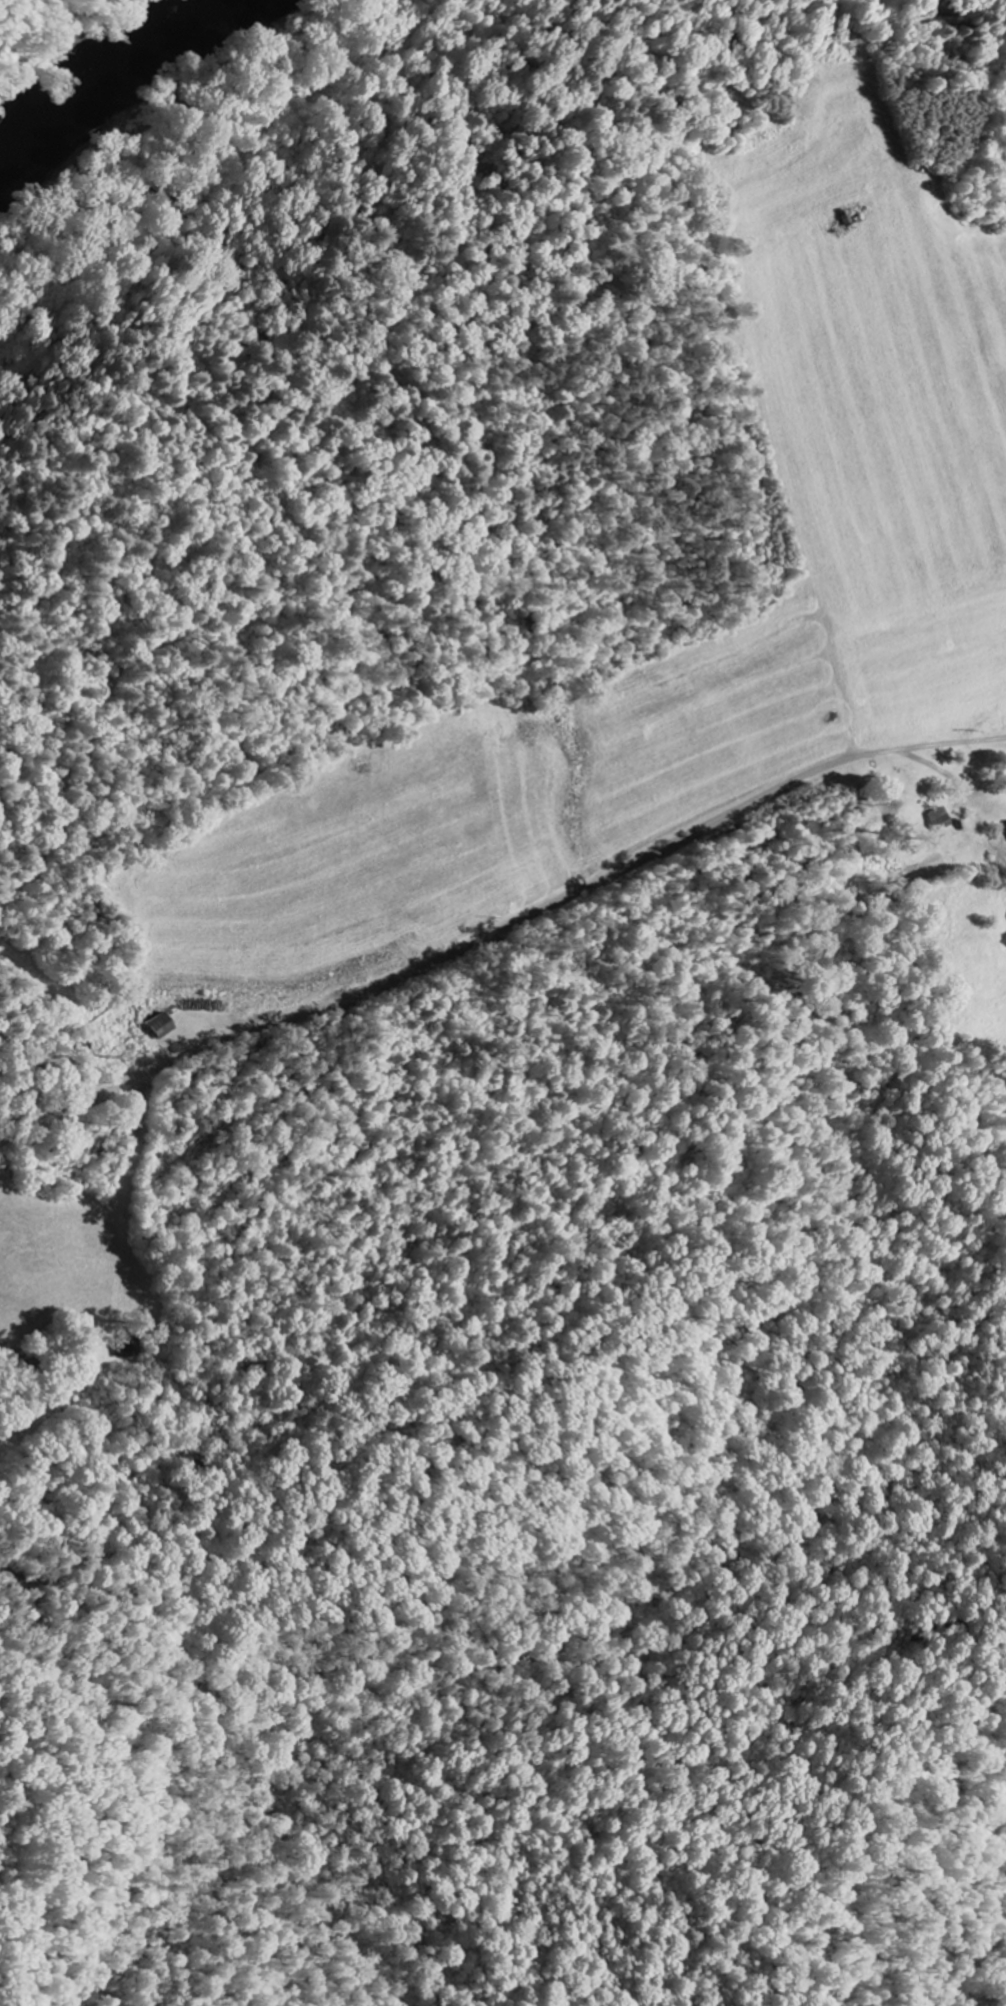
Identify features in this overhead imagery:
river: (105, 76)
road: (494, 913)
building: (170, 1030)

